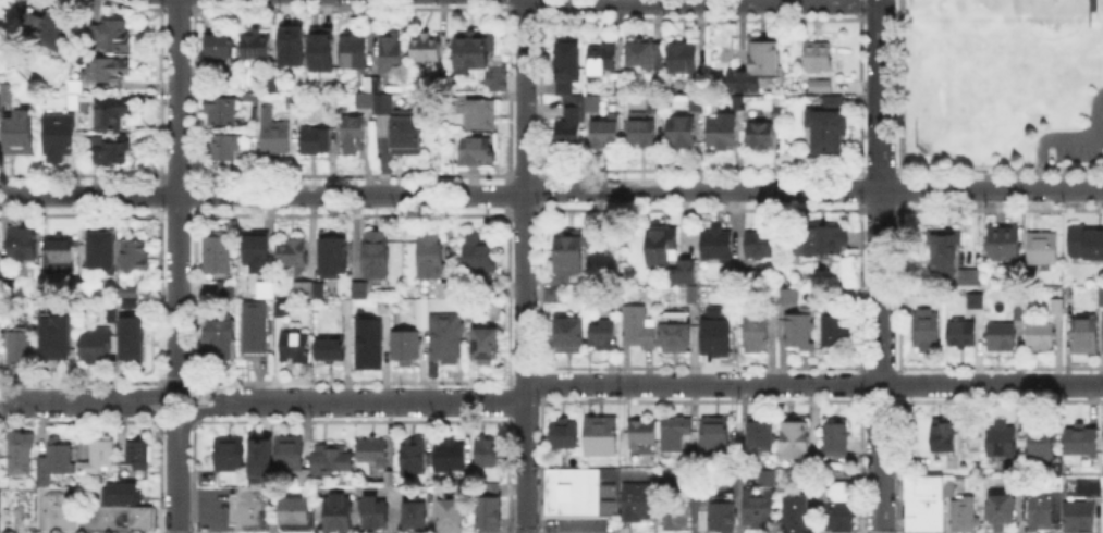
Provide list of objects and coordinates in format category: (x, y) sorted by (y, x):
road: (880, 0)
road: (709, 1)
building: (51, 33)
building: (93, 33)
building: (115, 35)
building: (290, 42)
building: (471, 46)
building: (217, 47)
building: (259, 47)
building: (427, 49)
building: (321, 50)
park: (1022, 50)
building: (354, 52)
building: (641, 53)
building: (816, 54)
building: (393, 55)
building: (602, 59)
building: (685, 59)
building: (760, 62)
building: (568, 63)
building: (108, 71)
building: (494, 76)
building: (441, 79)
building: (818, 83)
building: (75, 85)
building: (372, 85)
building: (620, 87)
building: (8, 97)
road: (177, 98)
building: (830, 99)
building: (250, 100)
building: (0, 102)
building: (76, 103)
building: (294, 103)
building: (697, 103)
building: (595, 106)
building: (655, 106)
building: (224, 113)
building: (779, 113)
park: (957, 113)
building: (112, 115)
building: (481, 115)
building: (569, 128)
building: (824, 128)
building: (408, 129)
building: (642, 131)
building: (682, 133)
building: (606, 134)
building: (723, 134)
building: (21, 135)
building: (353, 135)
building: (761, 136)
building: (61, 137)
road: (1055, 137)
building: (278, 139)
building: (316, 142)
building: (230, 150)
building: (474, 150)
building: (111, 152)
parking lot: (1078, 152)
building: (787, 162)
road: (639, 188)
road: (881, 191)
road: (88, 196)
building: (1001, 239)
building: (1083, 240)
building: (20, 241)
building: (822, 243)
building: (720, 245)
building: (760, 245)
building: (1040, 245)
building: (941, 246)
building: (662, 247)
building: (101, 248)
building: (573, 249)
building: (61, 251)
building: (218, 252)
building: (258, 253)
building: (135, 255)
building: (293, 255)
building: (335, 255)
building: (378, 255)
building: (432, 255)
building: (481, 259)
road: (524, 266)
building: (686, 273)
building: (1029, 274)
building: (747, 277)
building: (972, 278)
building: (559, 280)
building: (304, 289)
building: (361, 289)
building: (228, 290)
building: (96, 292)
building: (269, 292)
building: (319, 292)
building: (448, 292)
building: (488, 292)
building: (549, 292)
building: (425, 294)
building: (789, 295)
road: (177, 296)
building: (694, 296)
building: (1102, 296)
building: (555, 297)
building: (977, 301)
building: (1057, 305)
building: (348, 309)
building: (385, 309)
building: (284, 310)
building: (1021, 311)
building: (48, 314)
building: (477, 315)
building: (112, 317)
building: (424, 324)
building: (130, 325)
building: (254, 327)
building: (639, 329)
building: (836, 331)
building: (927, 331)
building: (801, 332)
building: (757, 333)
building: (1102, 334)
building: (963, 335)
building: (1087, 336)
building: (571, 337)
building: (605, 337)
building: (718, 337)
building: (1003, 337)
building: (1042, 337)
building: (222, 338)
building: (676, 340)
building: (448, 343)
building: (371, 344)
building: (63, 347)
building: (97, 347)
building: (488, 347)
building: (20, 348)
building: (296, 348)
building: (407, 348)
building: (333, 351)
road: (667, 384)
road: (859, 392)
road: (898, 392)
road: (177, 396)
road: (215, 396)
road: (136, 398)
road: (54, 401)
road: (879, 405)
road: (163, 406)
road: (192, 406)
road: (135, 410)
road: (215, 410)
road: (880, 420)
building: (677, 433)
building: (763, 433)
road: (170, 434)
road: (183, 434)
building: (565, 435)
building: (719, 435)
building: (946, 436)
building: (644, 437)
building: (603, 438)
building: (835, 438)
building: (1003, 439)
building: (795, 441)
building: (1082, 441)
building: (1043, 443)
building: (19, 450)
building: (136, 451)
building: (376, 453)
building: (99, 454)
building: (491, 454)
building: (231, 455)
building: (290, 455)
building: (448, 455)
road: (880, 455)
building: (260, 458)
building: (53, 459)
building: (417, 459)
building: (333, 460)
building: (694, 460)
building: (81, 468)
building: (120, 468)
building: (465, 475)
building: (764, 475)
building: (392, 480)
building: (307, 482)
building: (1086, 483)
building: (947, 486)
building: (489, 487)
building: (117, 492)
building: (581, 492)
road: (176, 493)
building: (635, 499)
road: (880, 504)
building: (920, 504)
road: (194, 505)
building: (757, 506)
building: (19, 507)
building: (57, 507)
parking lot: (211, 507)
building: (248, 507)
building: (996, 509)
building: (372, 510)
building: (674, 510)
building: (794, 510)
building: (335, 511)
building: (1040, 511)
building: (294, 512)
building: (413, 512)
building: (718, 512)
building: (449, 513)
building: (485, 515)
building: (835, 515)
building: (113, 516)
building: (960, 516)
building: (1076, 518)
parking lot: (581, 523)
road: (201, 532)

